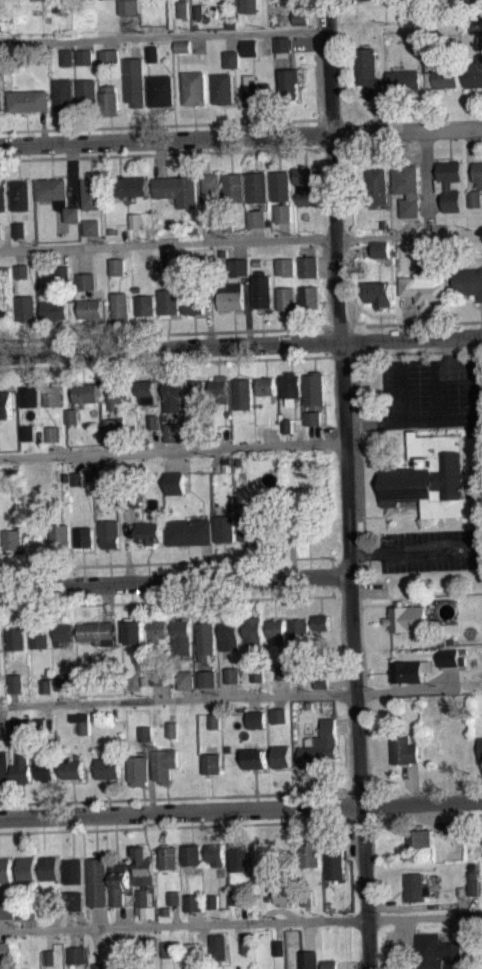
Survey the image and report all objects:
building: (369, 0)
building: (110, 2)
building: (248, 5)
road: (298, 5)
building: (61, 6)
building: (128, 7)
building: (182, 8)
building: (198, 11)
building: (300, 17)
building: (231, 24)
building: (301, 24)
road: (163, 36)
building: (481, 38)
road: (109, 43)
road: (309, 43)
road: (67, 44)
road: (83, 44)
road: (265, 44)
building: (182, 46)
building: (282, 46)
road: (134, 47)
building: (249, 47)
building: (183, 52)
building: (152, 53)
building: (83, 56)
building: (67, 57)
building: (109, 58)
building: (230, 59)
building: (1, 60)
building: (85, 63)
building: (0, 67)
building: (369, 73)
building: (474, 74)
building: (441, 79)
building: (402, 80)
building: (134, 81)
building: (288, 84)
building: (194, 88)
building: (222, 88)
building: (160, 90)
building: (256, 90)
building: (1, 94)
building: (87, 94)
building: (63, 95)
building: (108, 101)
building: (28, 102)
road: (430, 109)
road: (393, 112)
road: (376, 115)
road: (160, 124)
road: (321, 133)
road: (241, 136)
road: (161, 152)
road: (159, 158)
road: (469, 159)
building: (477, 174)
road: (71, 175)
road: (426, 178)
building: (304, 184)
building: (449, 184)
building: (131, 187)
building: (233, 187)
building: (376, 187)
building: (256, 188)
building: (407, 188)
building: (177, 189)
building: (211, 193)
building: (91, 194)
building: (281, 194)
building: (2, 196)
building: (20, 196)
building: (56, 197)
road: (323, 197)
building: (475, 198)
road: (349, 199)
road: (435, 203)
road: (423, 208)
building: (257, 218)
building: (134, 220)
building: (456, 222)
building: (215, 224)
road: (437, 226)
building: (91, 227)
building: (19, 228)
road: (283, 229)
building: (0, 230)
road: (257, 233)
building: (19, 236)
road: (92, 241)
road: (20, 242)
road: (168, 243)
building: (381, 248)
road: (238, 249)
road: (355, 250)
road: (171, 252)
road: (84, 259)
building: (257, 262)
building: (239, 266)
building: (308, 266)
road: (327, 266)
building: (117, 267)
building: (285, 267)
building: (171, 268)
building: (21, 270)
building: (5, 272)
building: (62, 272)
building: (22, 277)
building: (63, 280)
building: (86, 281)
building: (469, 283)
building: (208, 284)
building: (262, 289)
building: (426, 289)
building: (230, 295)
building: (380, 295)
building: (310, 297)
building: (286, 298)
building: (167, 302)
building: (193, 303)
building: (120, 305)
building: (144, 305)
building: (25, 307)
building: (89, 308)
road: (247, 308)
building: (54, 310)
building: (4, 313)
road: (408, 316)
road: (209, 319)
road: (411, 322)
road: (170, 333)
road: (356, 340)
road: (324, 341)
road: (241, 344)
road: (419, 352)
road: (171, 361)
road: (67, 379)
building: (265, 385)
building: (290, 387)
building: (314, 387)
road: (438, 387)
building: (219, 389)
building: (147, 391)
building: (195, 391)
building: (85, 392)
building: (119, 392)
building: (242, 392)
building: (52, 393)
road: (401, 393)
parking lot: (433, 393)
building: (29, 394)
building: (172, 394)
building: (6, 403)
building: (71, 415)
building: (313, 417)
road: (467, 419)
building: (152, 421)
building: (113, 425)
building: (288, 425)
building: (153, 429)
building: (196, 431)
building: (171, 432)
building: (28, 433)
building: (52, 433)
road: (314, 434)
road: (360, 446)
road: (173, 449)
building: (226, 460)
building: (239, 461)
building: (431, 476)
building: (66, 477)
building: (76, 478)
building: (98, 478)
building: (174, 482)
road: (347, 484)
road: (469, 492)
building: (129, 497)
building: (125, 507)
road: (383, 516)
road: (439, 522)
building: (305, 526)
building: (224, 527)
road: (386, 527)
building: (260, 529)
building: (188, 531)
building: (109, 532)
building: (149, 532)
building: (60, 536)
building: (83, 537)
building: (12, 539)
road: (127, 545)
road: (415, 549)
parking lot: (430, 549)
road: (293, 557)
road: (275, 559)
road: (165, 561)
road: (206, 562)
road: (332, 575)
road: (175, 582)
road: (367, 587)
road: (166, 601)
road: (107, 603)
building: (408, 617)
building: (322, 622)
building: (134, 630)
building: (253, 630)
building: (277, 630)
building: (300, 630)
building: (158, 631)
building: (97, 633)
building: (62, 634)
building: (229, 634)
building: (39, 636)
building: (16, 637)
building: (181, 637)
building: (205, 637)
building: (1, 641)
building: (451, 657)
building: (411, 669)
building: (285, 671)
building: (300, 671)
building: (257, 673)
building: (232, 674)
building: (156, 678)
building: (207, 678)
building: (186, 679)
road: (342, 680)
building: (143, 681)
building: (322, 681)
building: (16, 682)
building: (62, 682)
building: (46, 686)
road: (285, 687)
road: (299, 687)
road: (256, 688)
road: (234, 689)
building: (47, 692)
road: (156, 692)
road: (208, 692)
road: (187, 694)
road: (62, 696)
road: (229, 697)
road: (252, 703)
road: (214, 705)
building: (309, 705)
road: (0, 713)
building: (256, 718)
building: (214, 720)
building: (82, 721)
building: (40, 724)
road: (346, 724)
building: (21, 727)
building: (215, 727)
building: (2, 729)
building: (172, 729)
building: (145, 733)
building: (321, 745)
building: (480, 747)
building: (227, 748)
building: (404, 748)
building: (283, 755)
building: (255, 758)
building: (211, 763)
building: (166, 764)
building: (72, 765)
building: (21, 766)
building: (108, 767)
building: (4, 768)
building: (46, 768)
building: (138, 770)
road: (151, 776)
road: (414, 781)
road: (180, 797)
road: (241, 809)
road: (480, 814)
road: (423, 819)
road: (181, 826)
building: (453, 827)
building: (419, 837)
building: (215, 853)
building: (192, 854)
building: (310, 854)
building: (240, 856)
building: (168, 857)
building: (335, 858)
building: (144, 866)
building: (49, 867)
building: (5, 869)
building: (74, 870)
building: (26, 871)
building: (471, 873)
building: (97, 881)
building: (118, 883)
building: (415, 886)
building: (473, 886)
building: (285, 894)
building: (142, 896)
building: (240, 896)
building: (173, 897)
building: (308, 898)
building: (76, 900)
building: (214, 901)
building: (194, 902)
building: (175, 904)
road: (425, 906)
building: (7, 908)
building: (47, 908)
building: (214, 908)
building: (138, 909)
building: (27, 910)
building: (167, 910)
road: (278, 910)
road: (464, 915)
road: (99, 916)
road: (118, 916)
road: (214, 916)
road: (421, 918)
road: (79, 919)
road: (5, 924)
road: (27, 924)
road: (183, 924)
road: (150, 930)
road: (277, 930)
road: (129, 932)
road: (168, 933)
road: (190, 933)
road: (307, 935)
road: (77, 937)
road: (51, 939)
road: (96, 944)
building: (129, 945)
building: (150, 945)
road: (401, 945)
building: (219, 946)
building: (246, 946)
building: (278, 947)
building: (7, 949)
building: (169, 949)
building: (192, 950)
building: (435, 952)
building: (247, 953)
building: (77, 954)
building: (51, 956)
building: (309, 959)
building: (330, 963)
building: (99, 965)
road: (353, 965)

